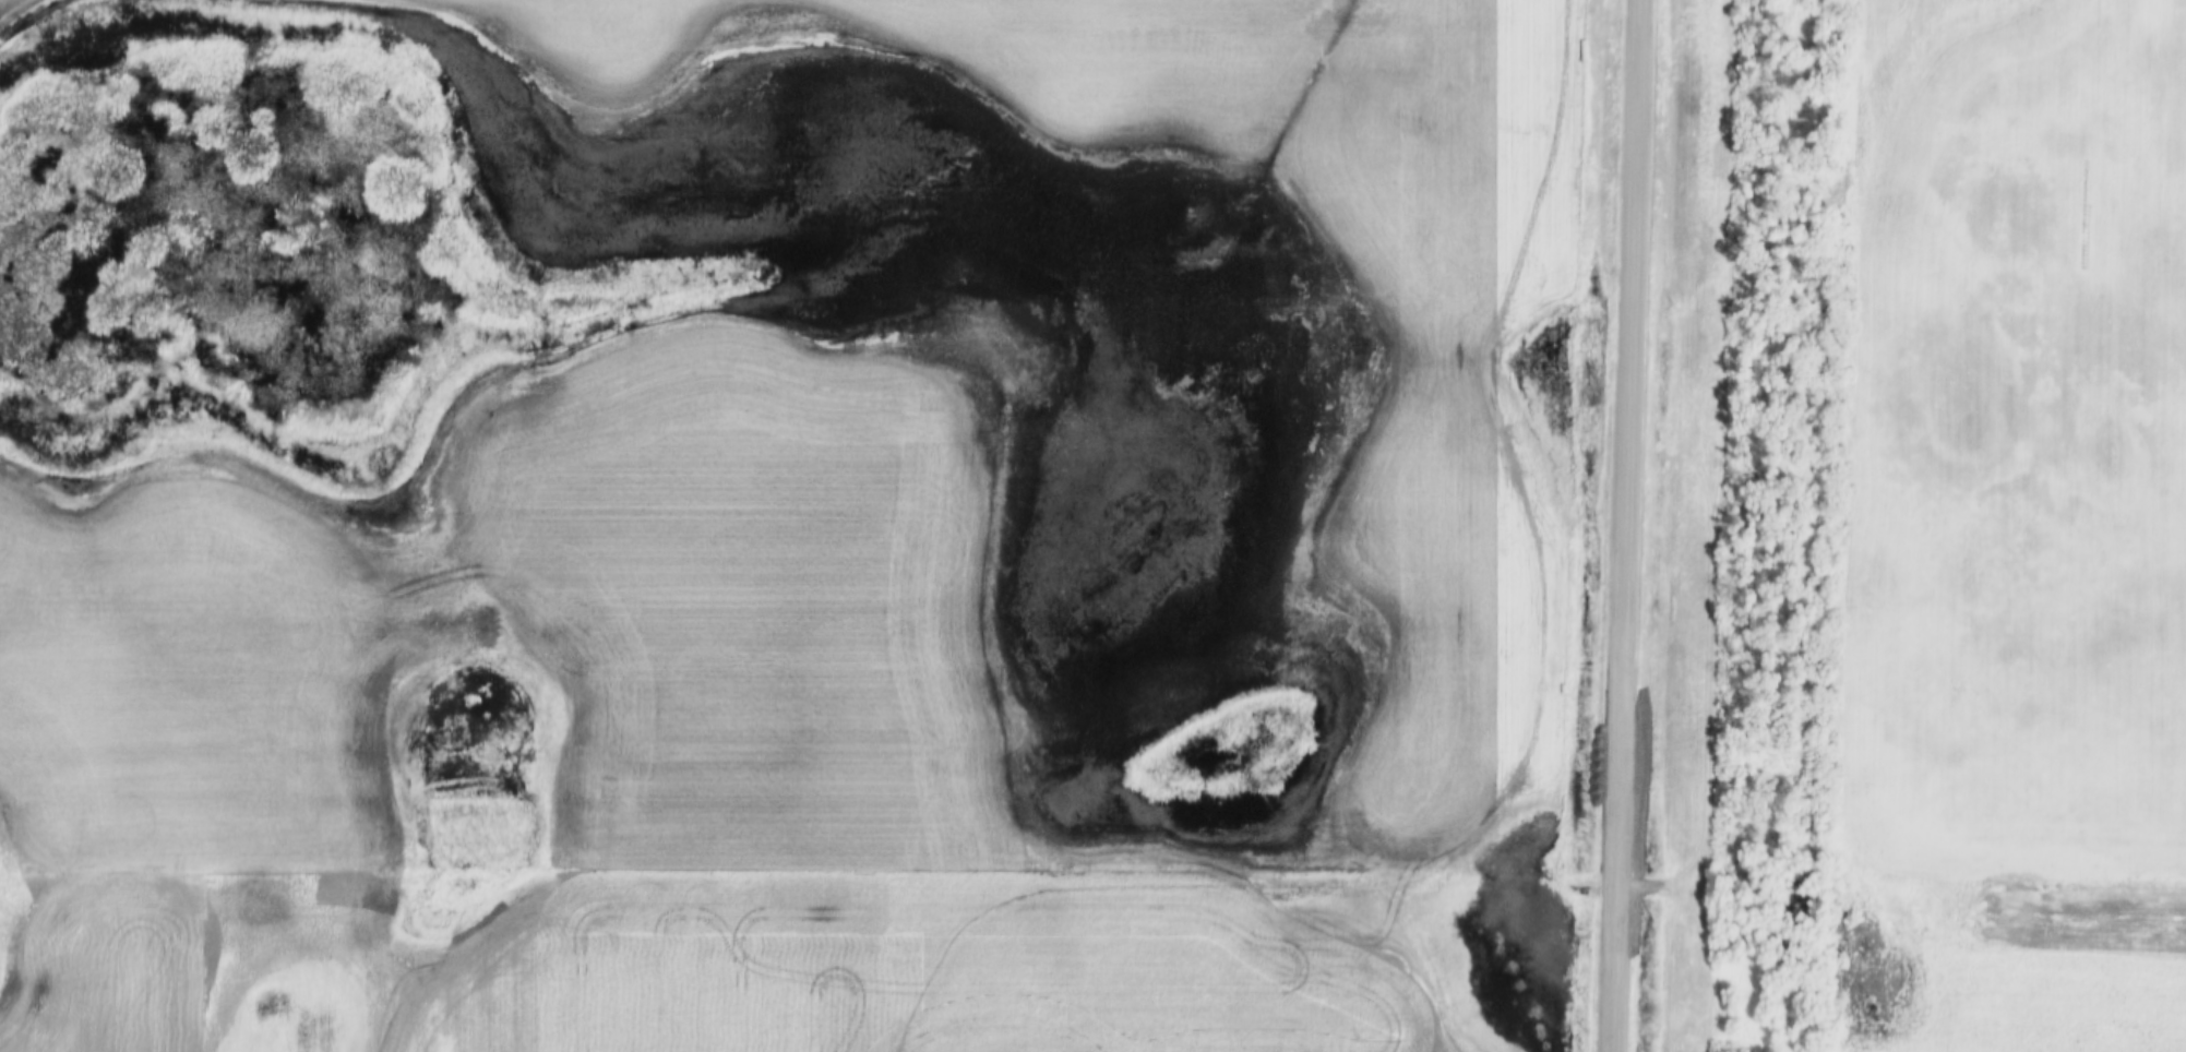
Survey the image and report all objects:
road: (1625, 526)

